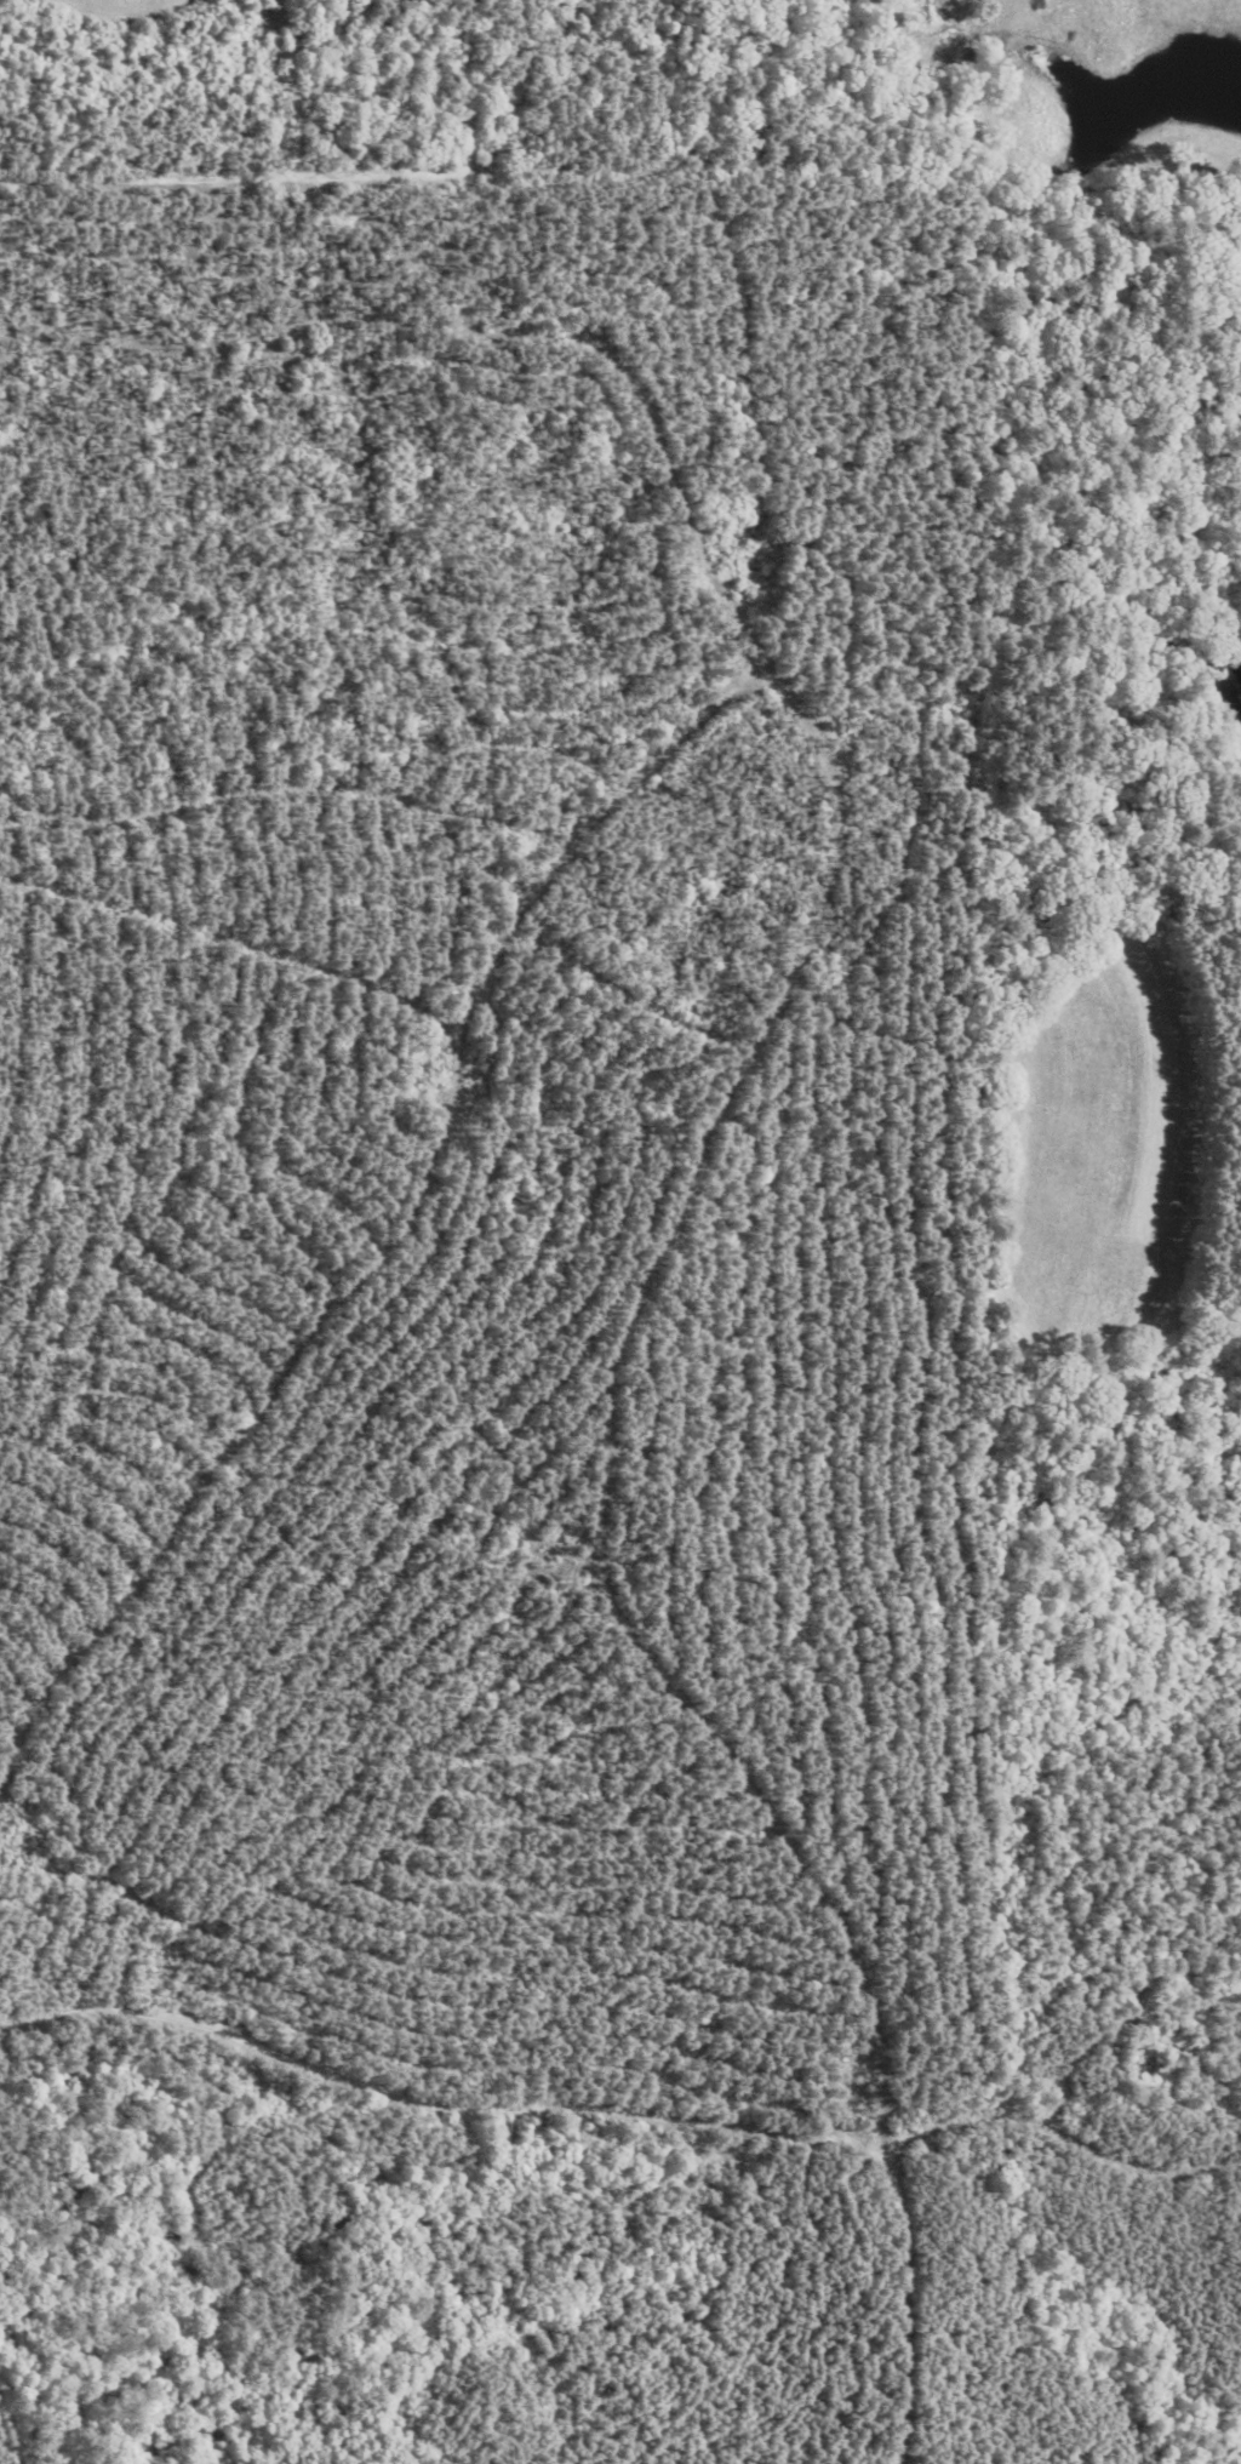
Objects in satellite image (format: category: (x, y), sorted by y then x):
road: (485, 1062)
road: (612, 2125)

